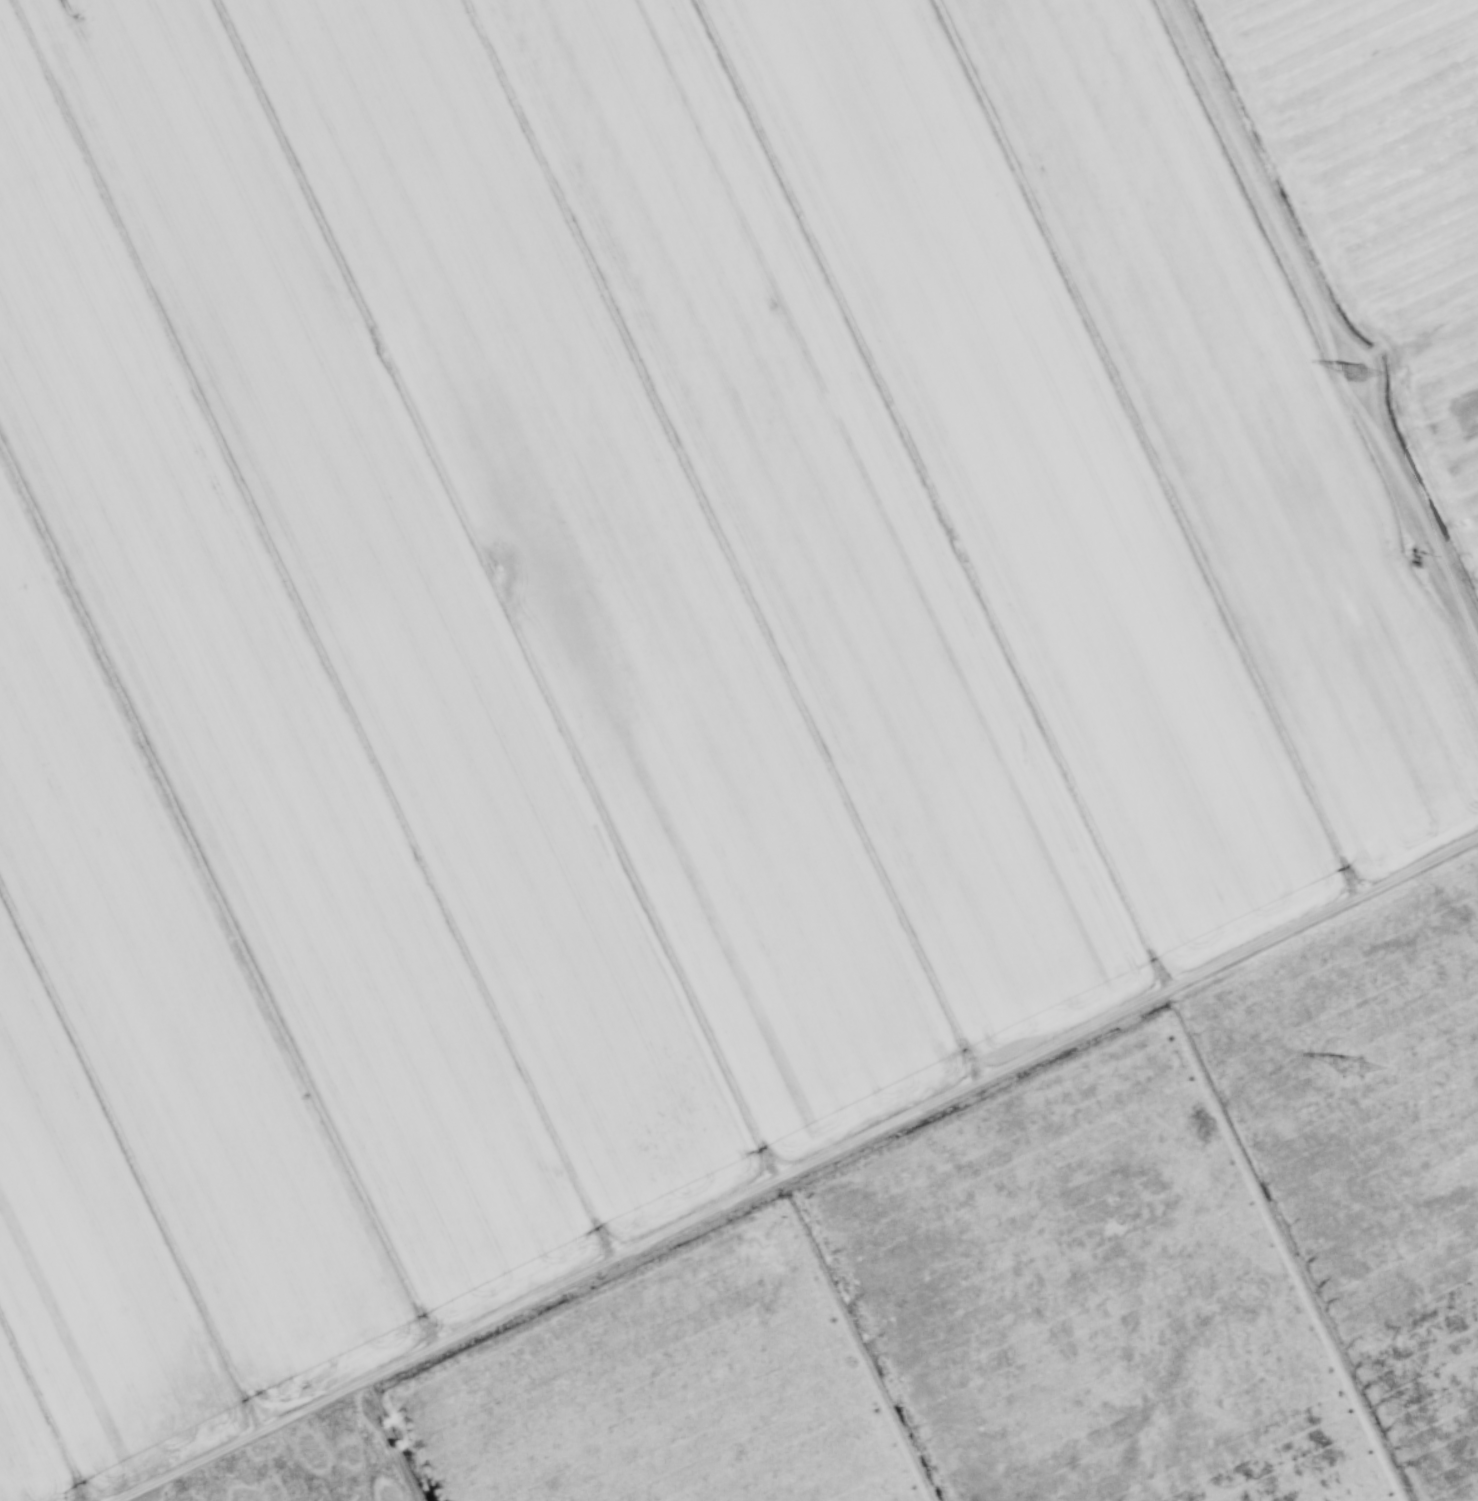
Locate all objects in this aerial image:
power tower: (1355, 374)
power tower: (1352, 1068)

